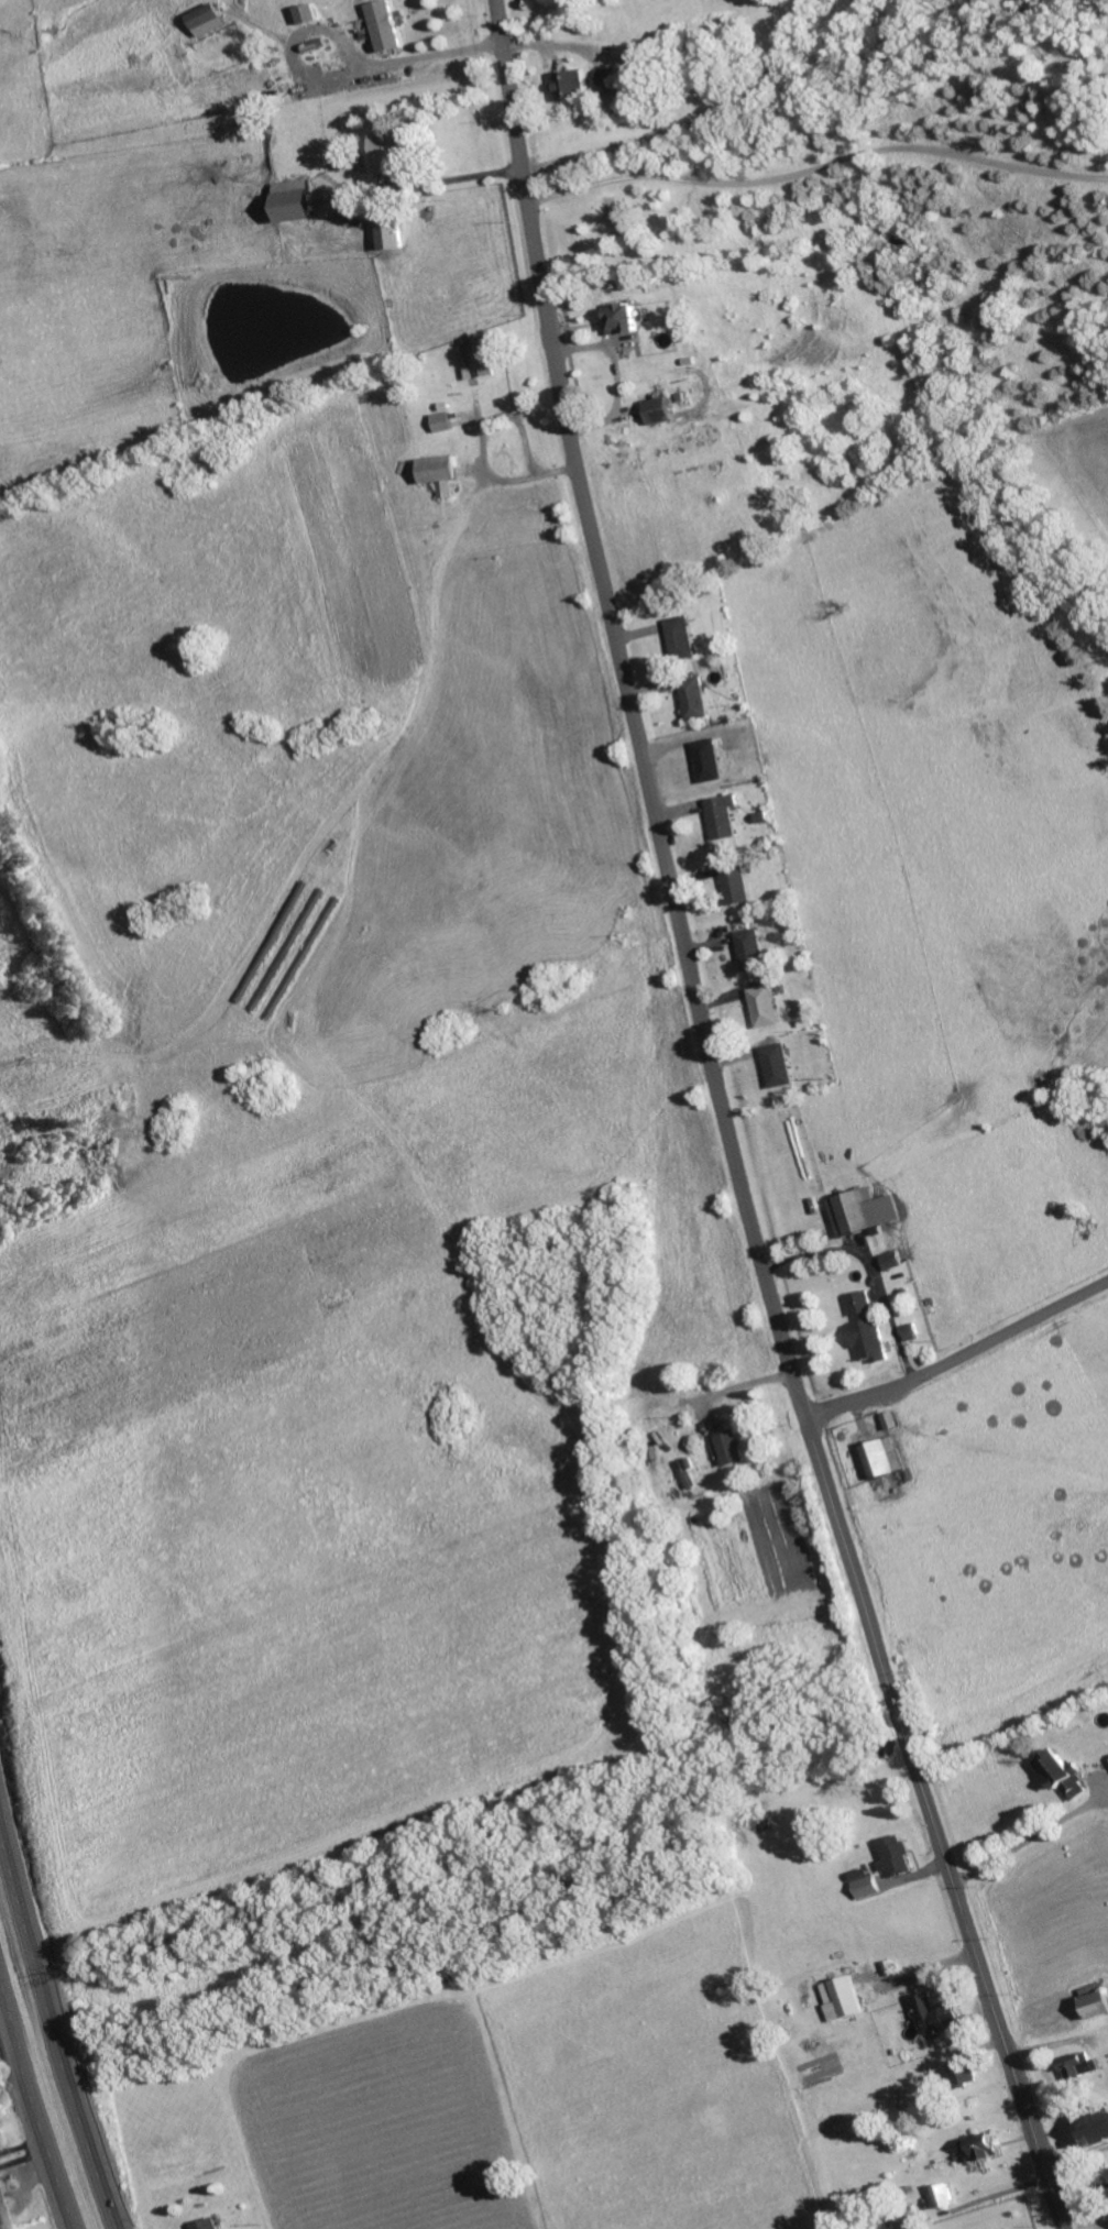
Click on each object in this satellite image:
building: (210, 22)
building: (386, 28)
road: (339, 80)
building: (571, 87)
building: (617, 94)
road: (694, 122)
building: (390, 155)
road: (819, 171)
road: (452, 180)
building: (298, 202)
building: (393, 237)
building: (625, 321)
building: (483, 359)
building: (663, 413)
building: (445, 424)
building: (443, 475)
building: (682, 640)
building: (696, 702)
road: (634, 713)
building: (710, 762)
building: (724, 817)
building: (737, 885)
building: (754, 952)
building: (766, 1008)
building: (780, 1067)
building: (865, 1214)
building: (895, 1262)
building: (870, 1330)
building: (913, 1335)
road: (958, 1358)
building: (893, 1423)
building: (733, 1449)
building: (886, 1460)
building: (1065, 1777)
road: (936, 1823)
building: (897, 1858)
building: (865, 1885)
building: (843, 2000)
building: (1098, 2007)
road: (51, 2013)
building: (939, 2016)
building: (1080, 2067)
building: (964, 2074)
road: (36, 2101)
building: (1096, 2129)
building: (983, 2151)
building: (945, 2196)
building: (3, 2218)
building: (211, 2225)

